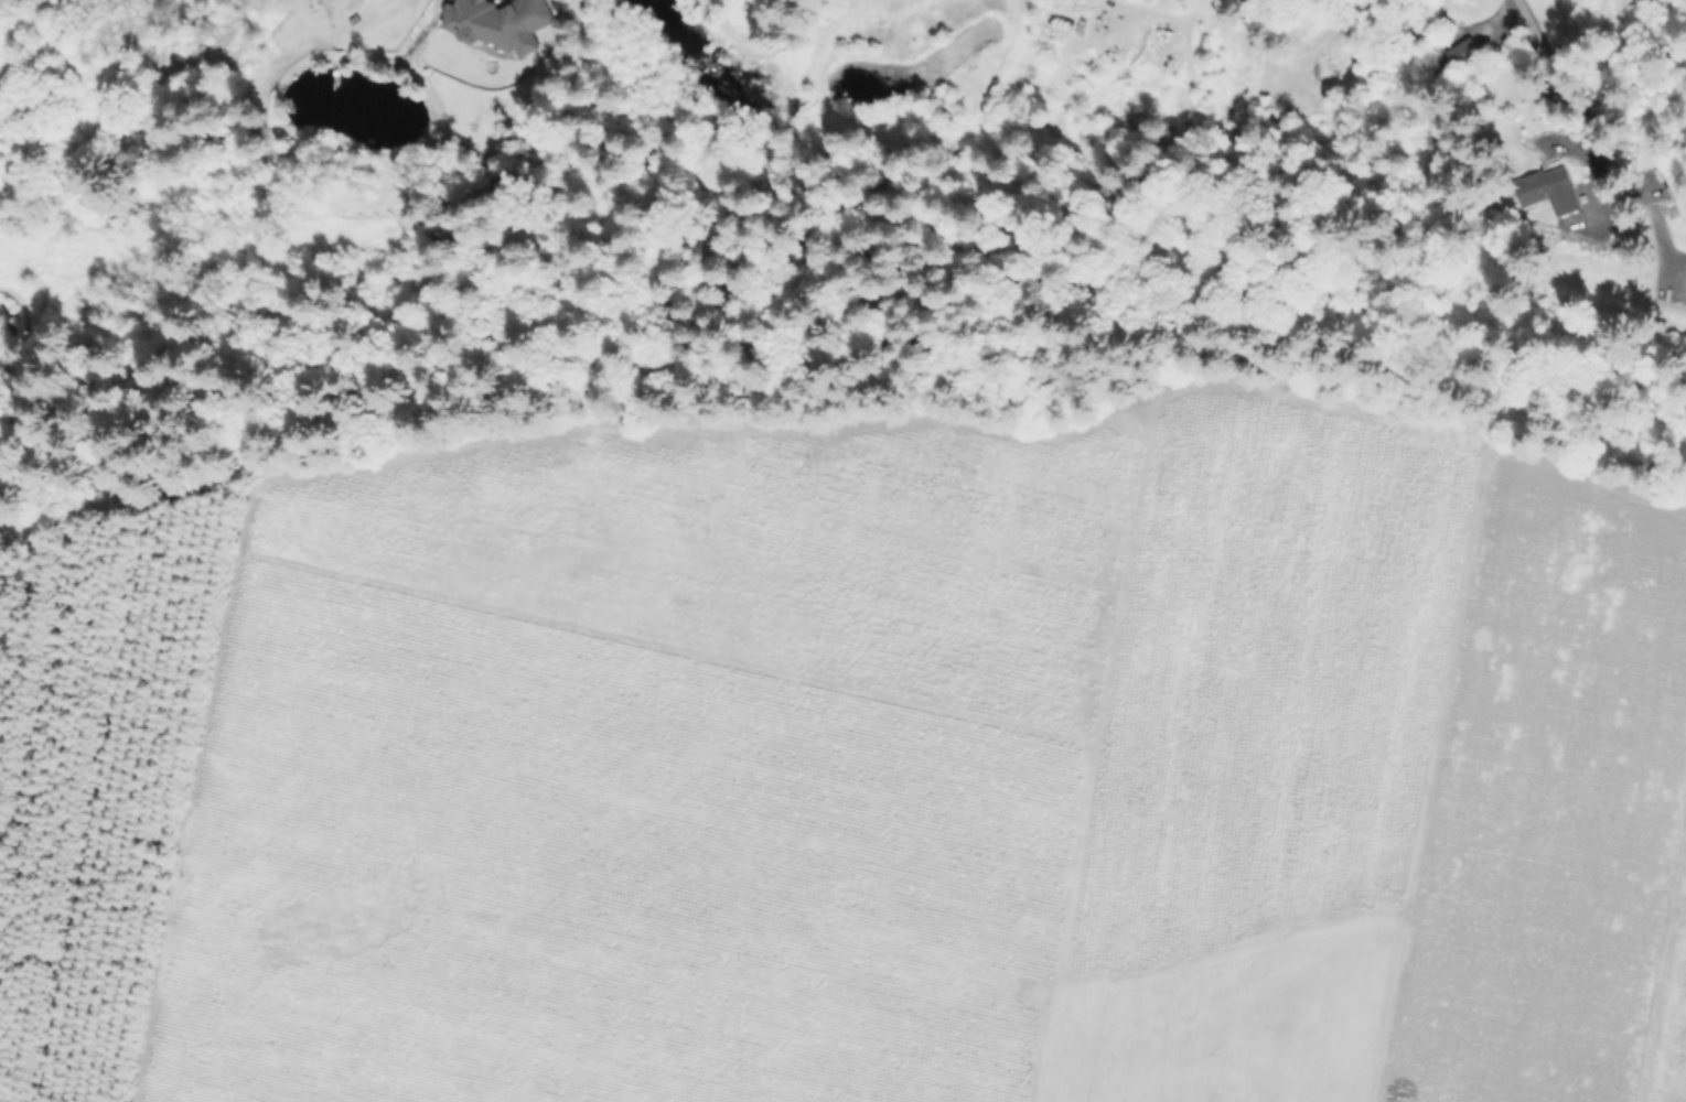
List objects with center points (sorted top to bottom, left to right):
building: (503, 18)
building: (1463, 55)
road: (1540, 69)
building: (1549, 190)
road: (1644, 996)

